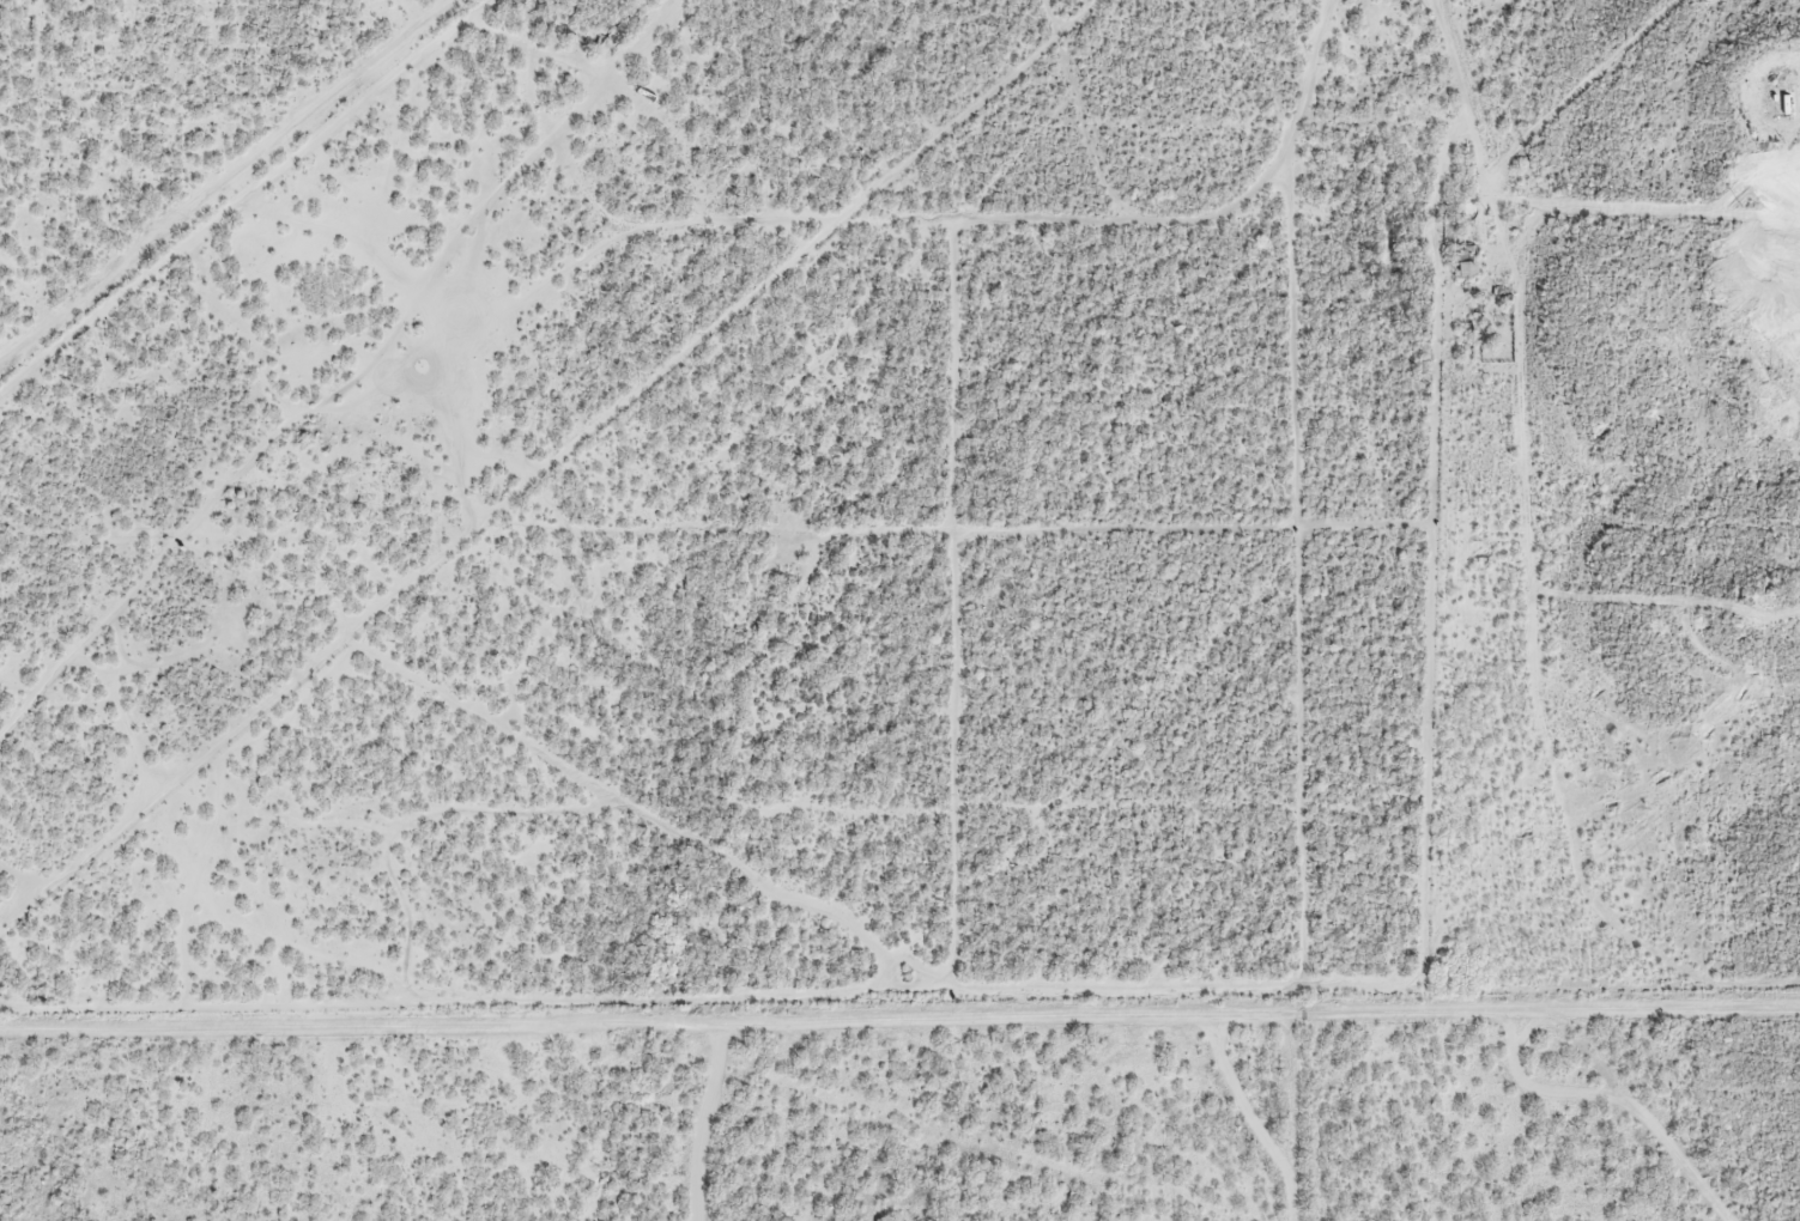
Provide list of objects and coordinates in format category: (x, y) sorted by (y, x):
road: (1477, 55)
building: (1465, 267)

